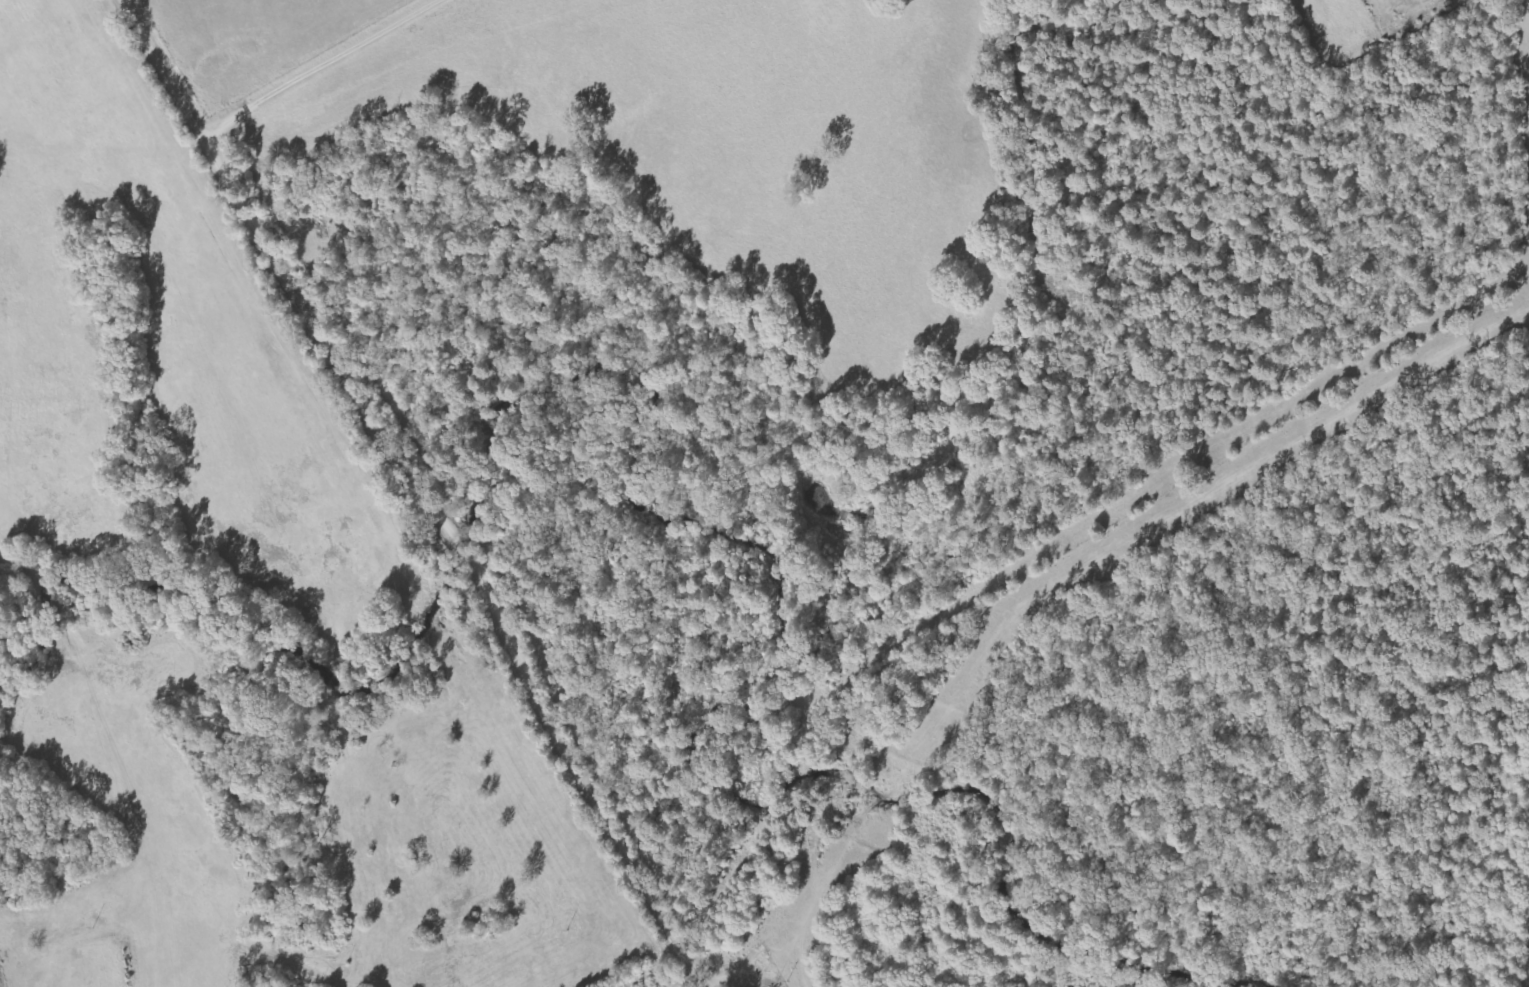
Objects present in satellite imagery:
road: (417, 489)

